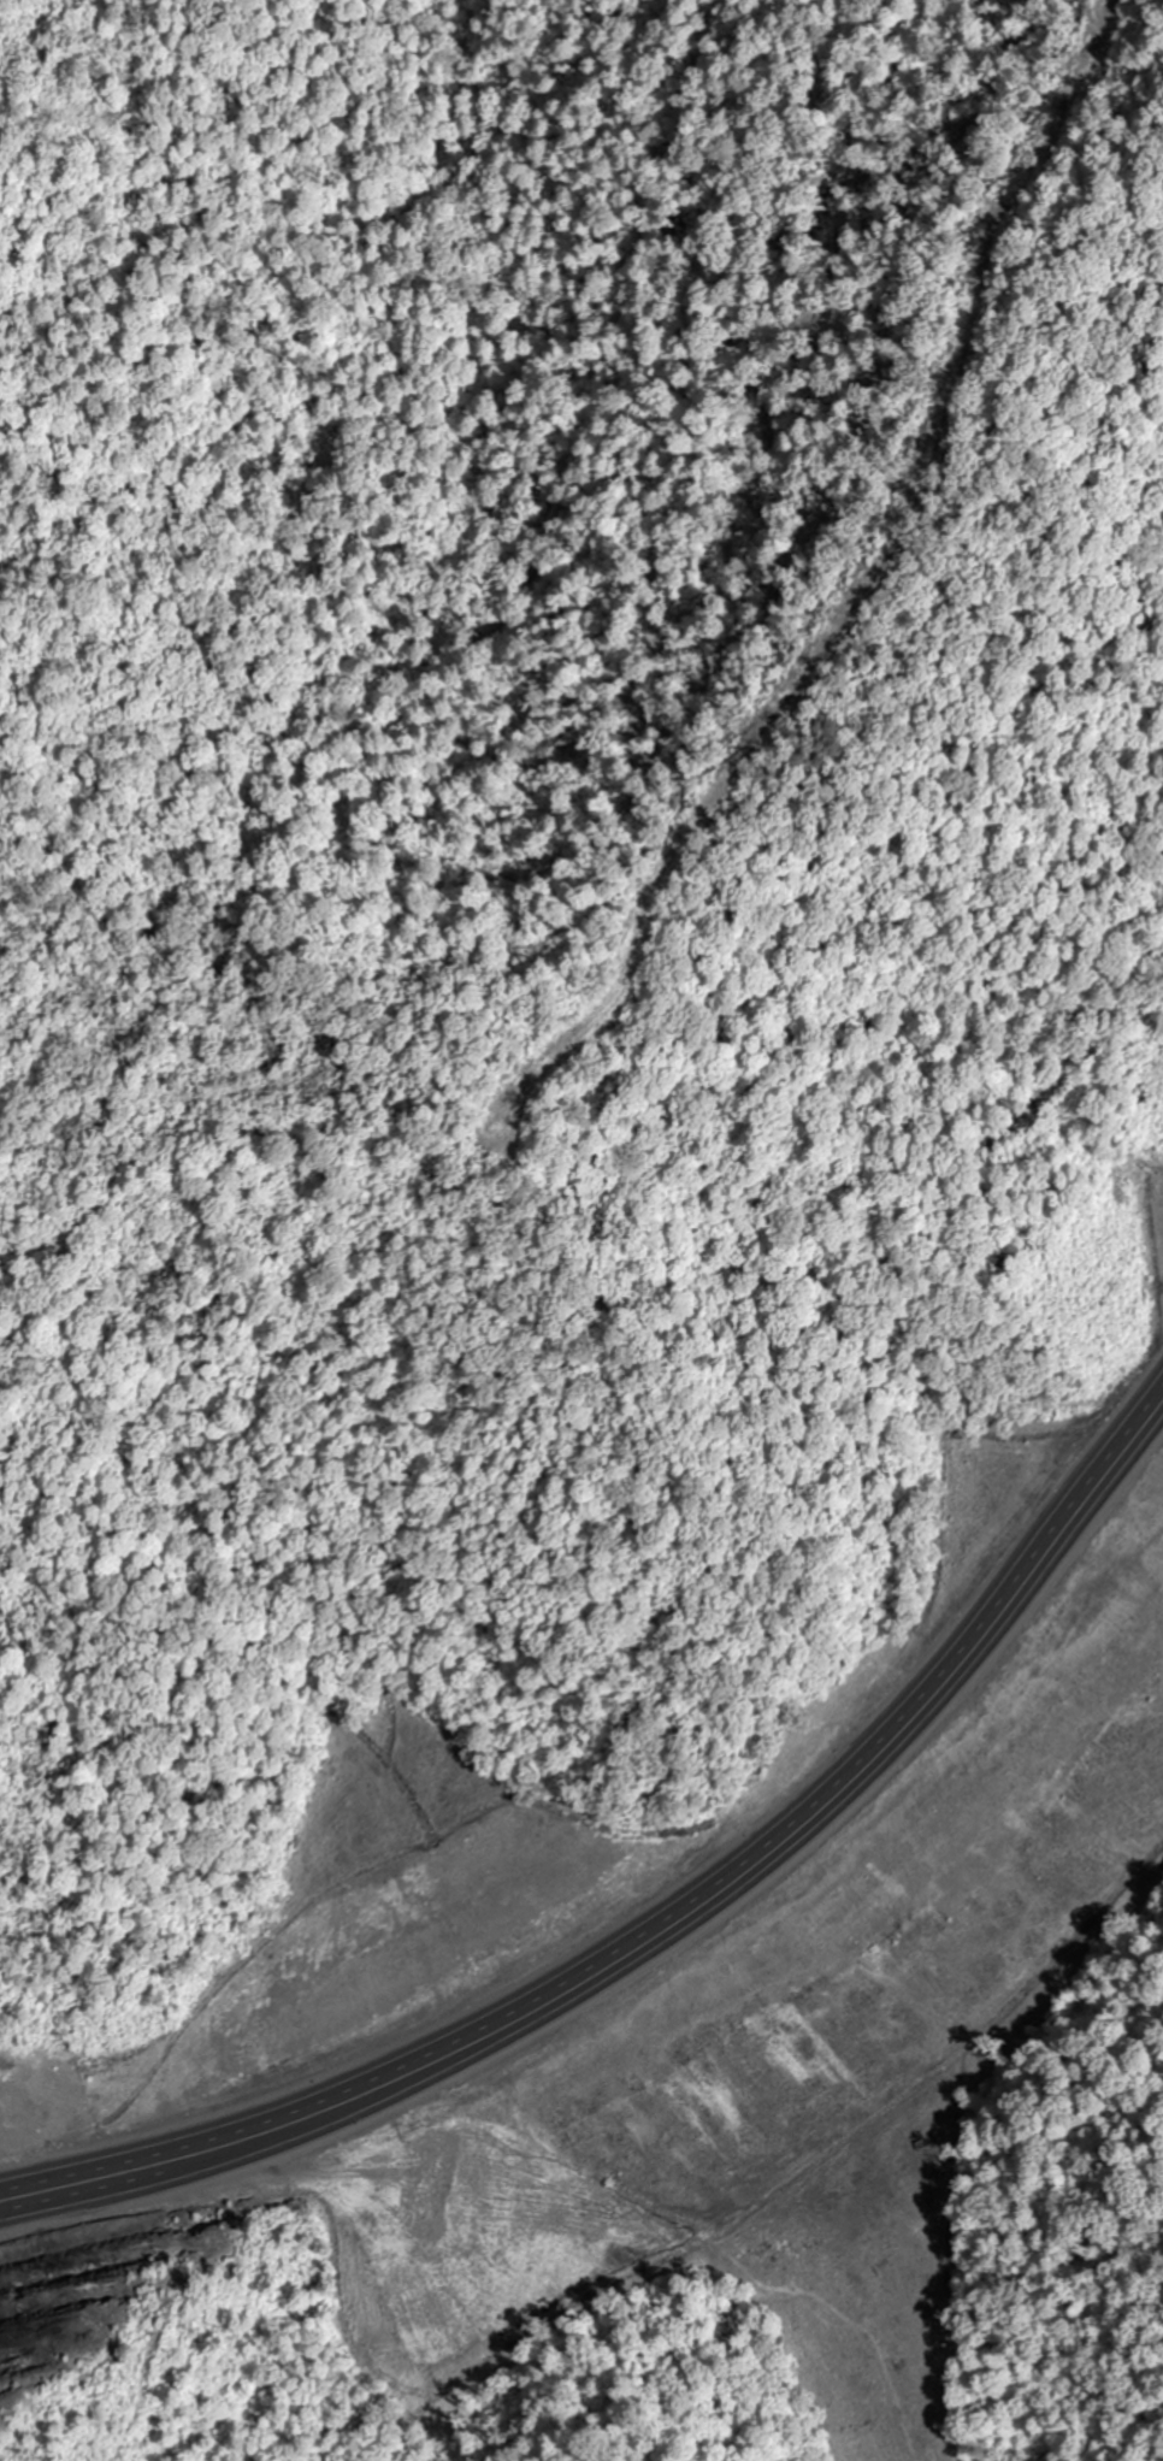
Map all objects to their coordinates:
road: (667, 1919)

